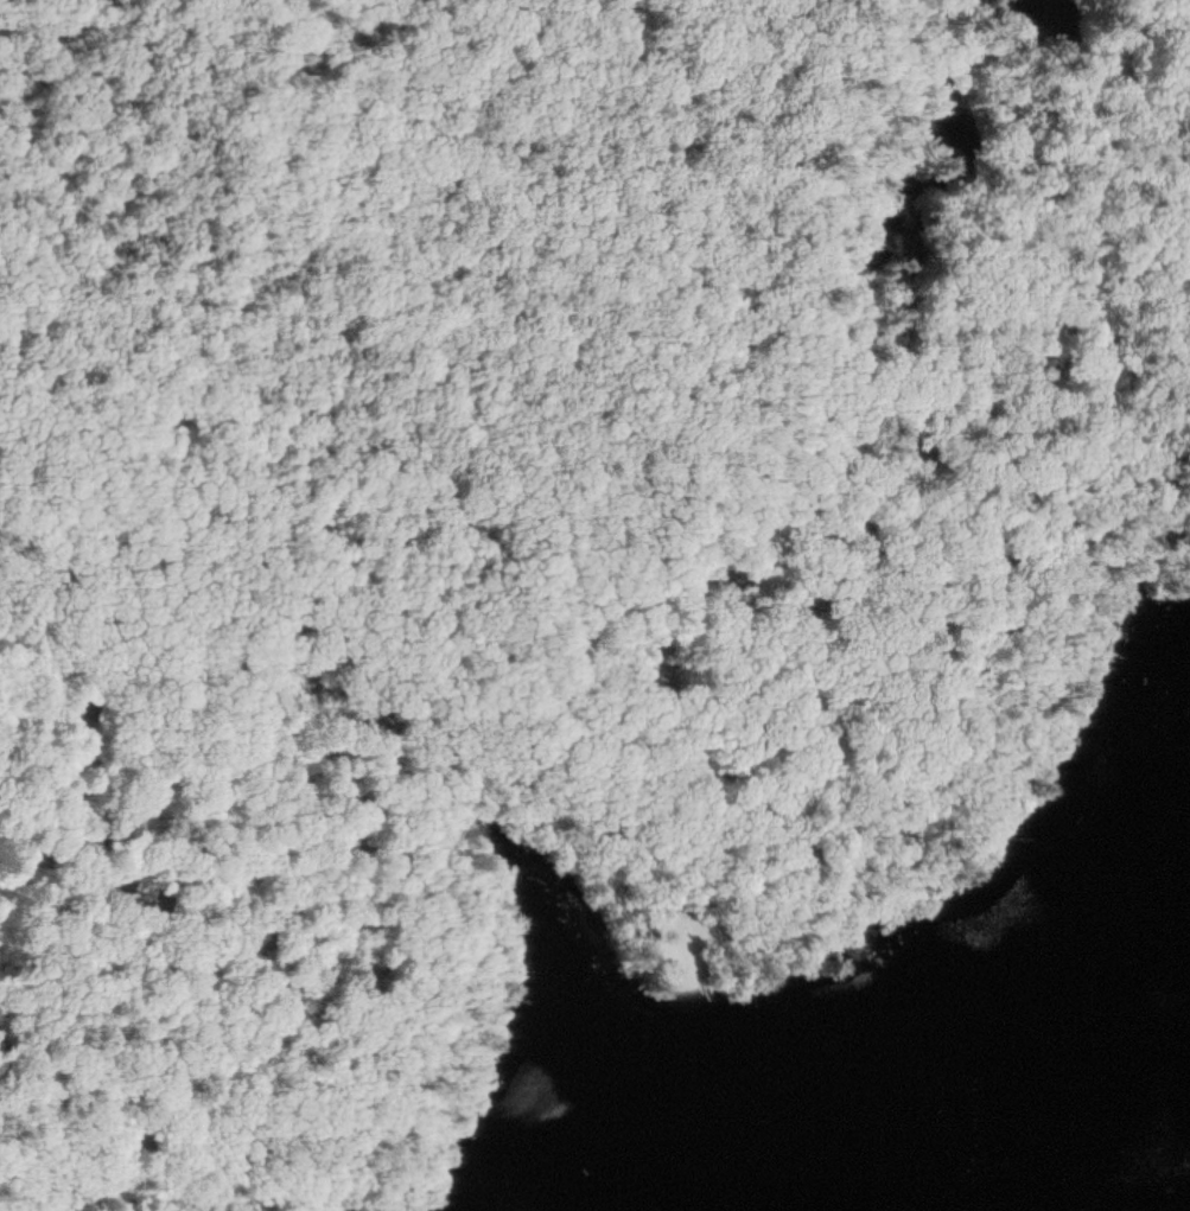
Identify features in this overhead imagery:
road: (350, 261)
road: (182, 394)
road: (526, 521)
park: (594, 605)
road: (632, 859)

